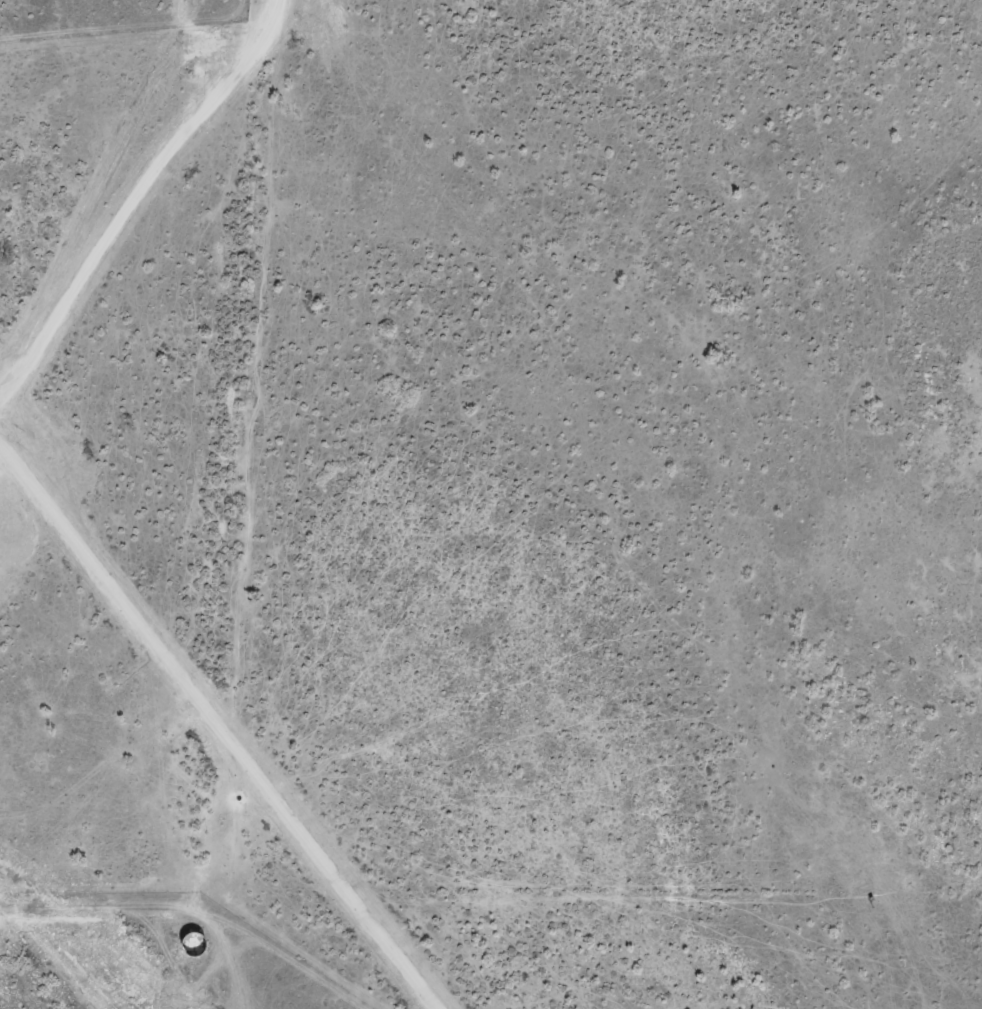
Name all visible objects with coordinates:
road: (122, 951)

